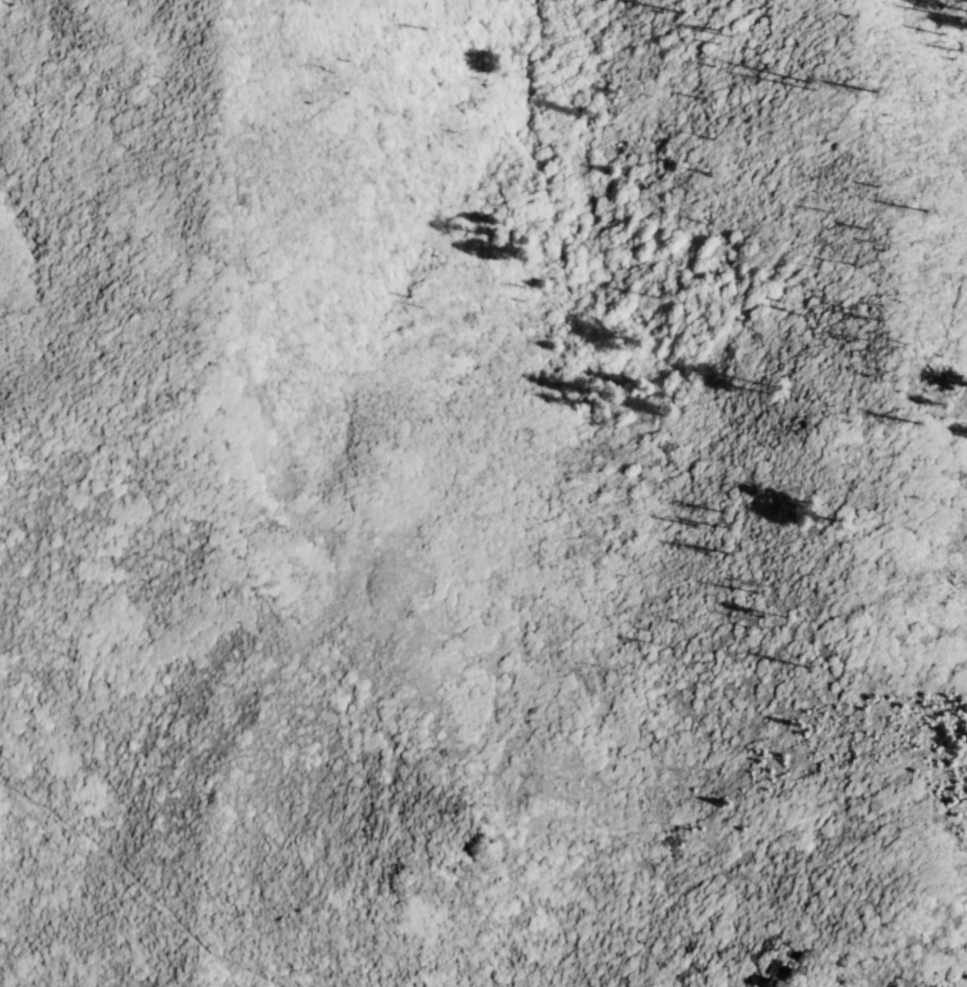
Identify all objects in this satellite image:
road: (141, 886)

